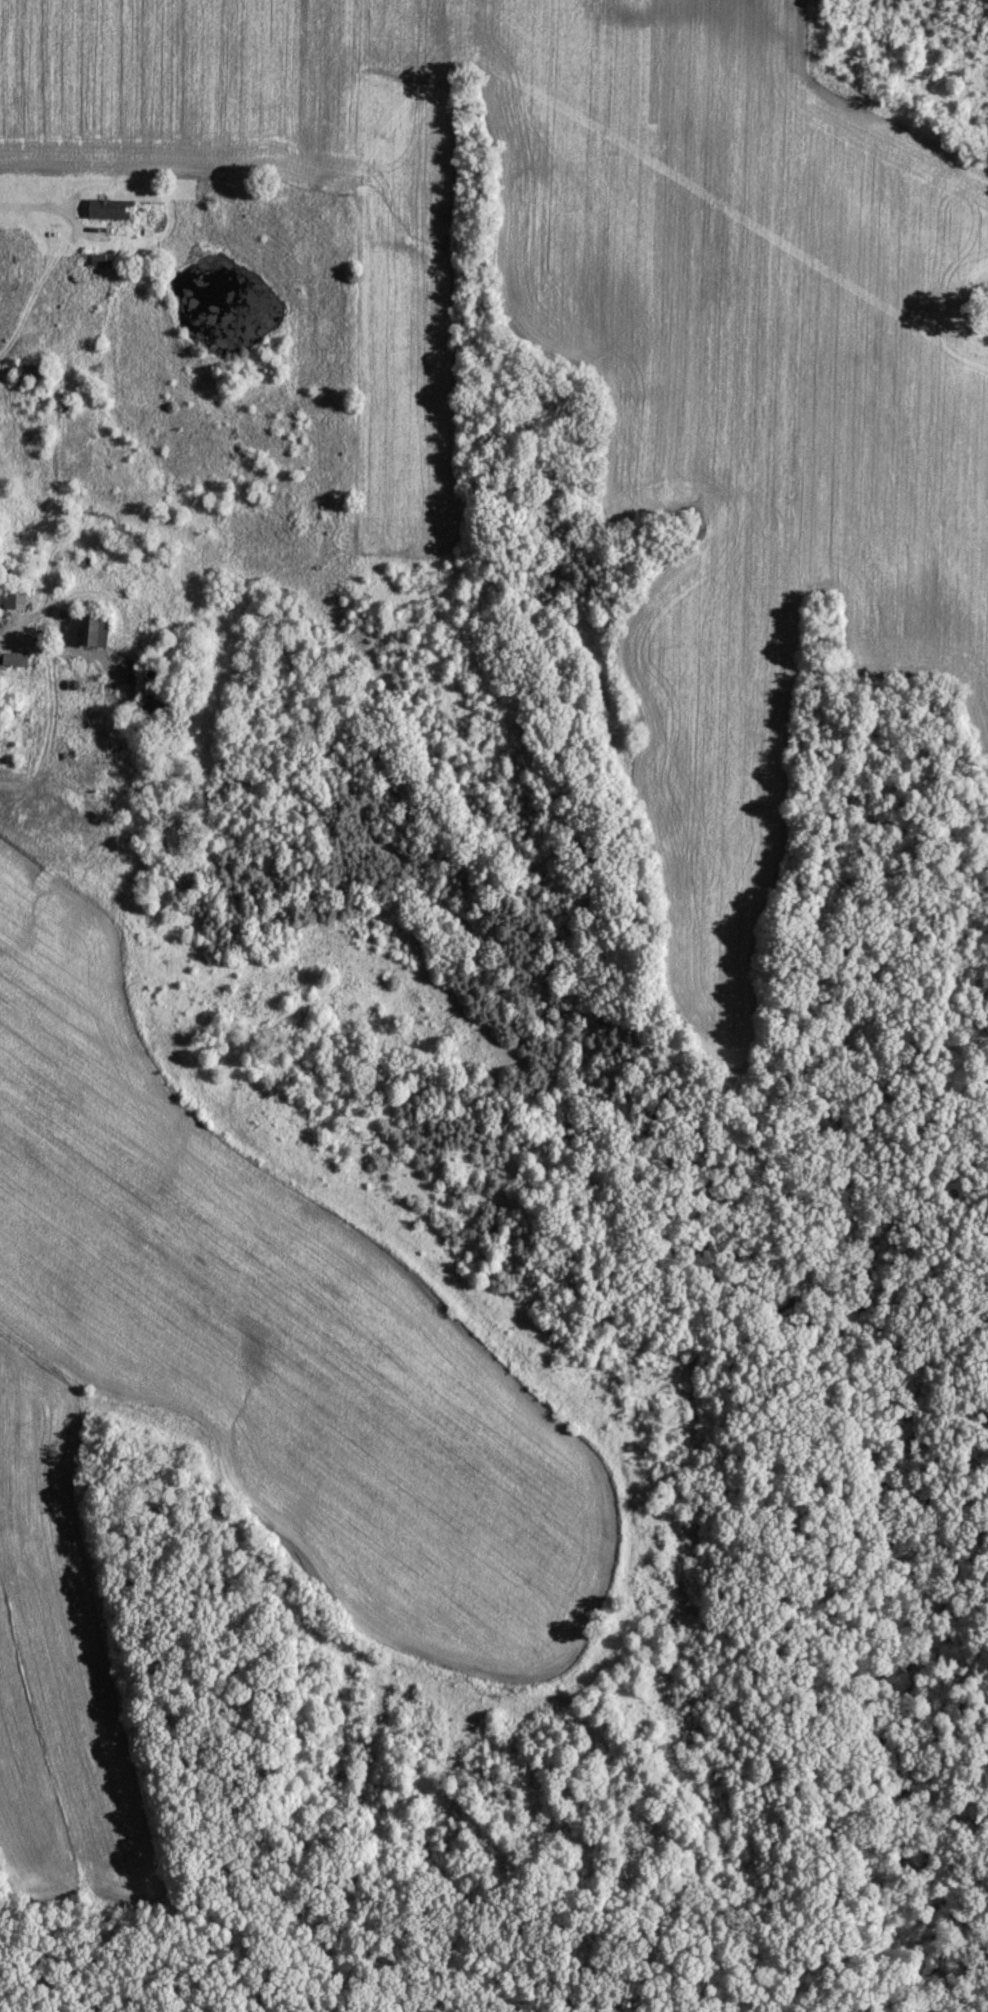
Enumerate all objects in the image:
building: (104, 207)
building: (94, 258)
building: (26, 371)
building: (10, 596)
building: (85, 630)
building: (12, 658)

